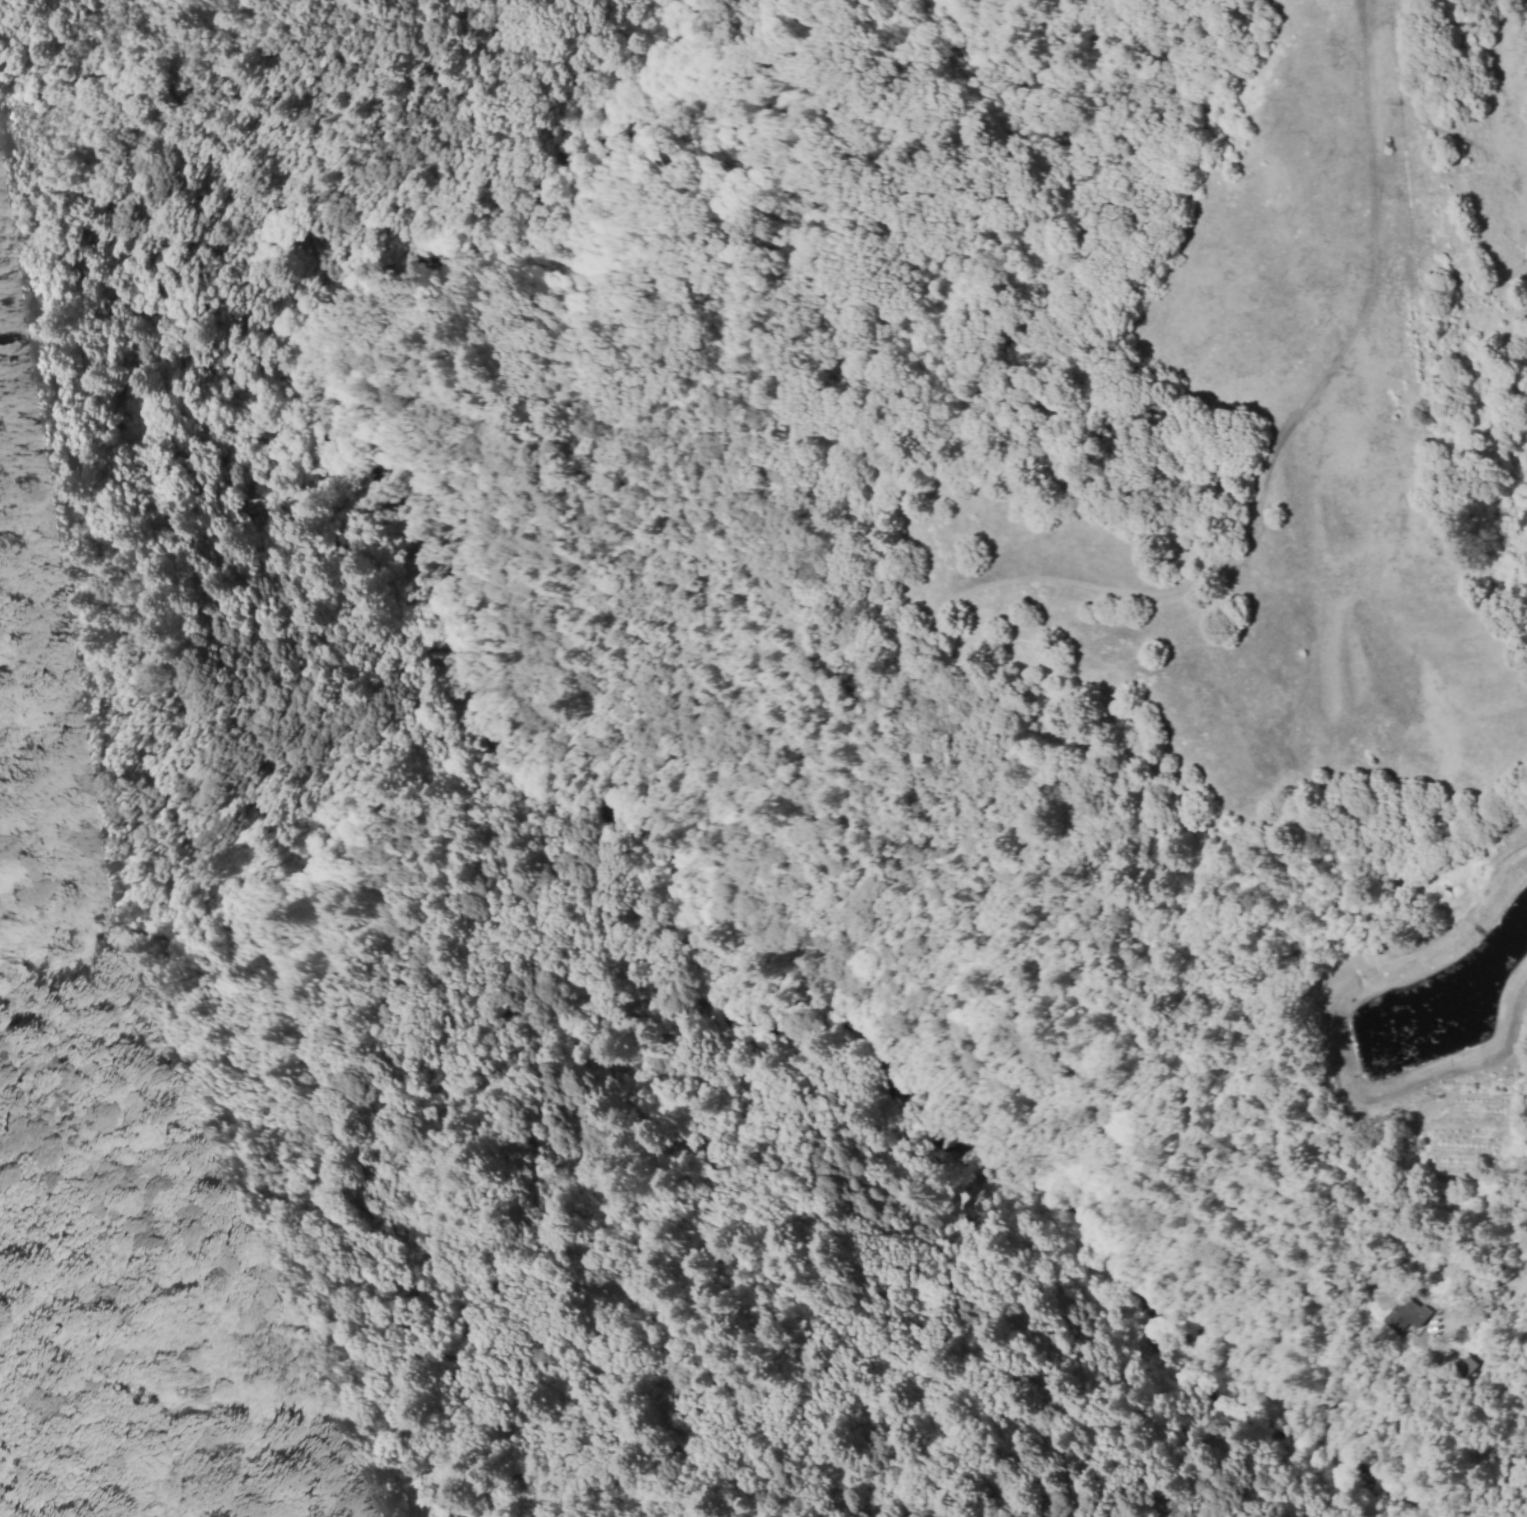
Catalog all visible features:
road: (1374, 274)
building: (1407, 1314)
building: (1466, 1365)

